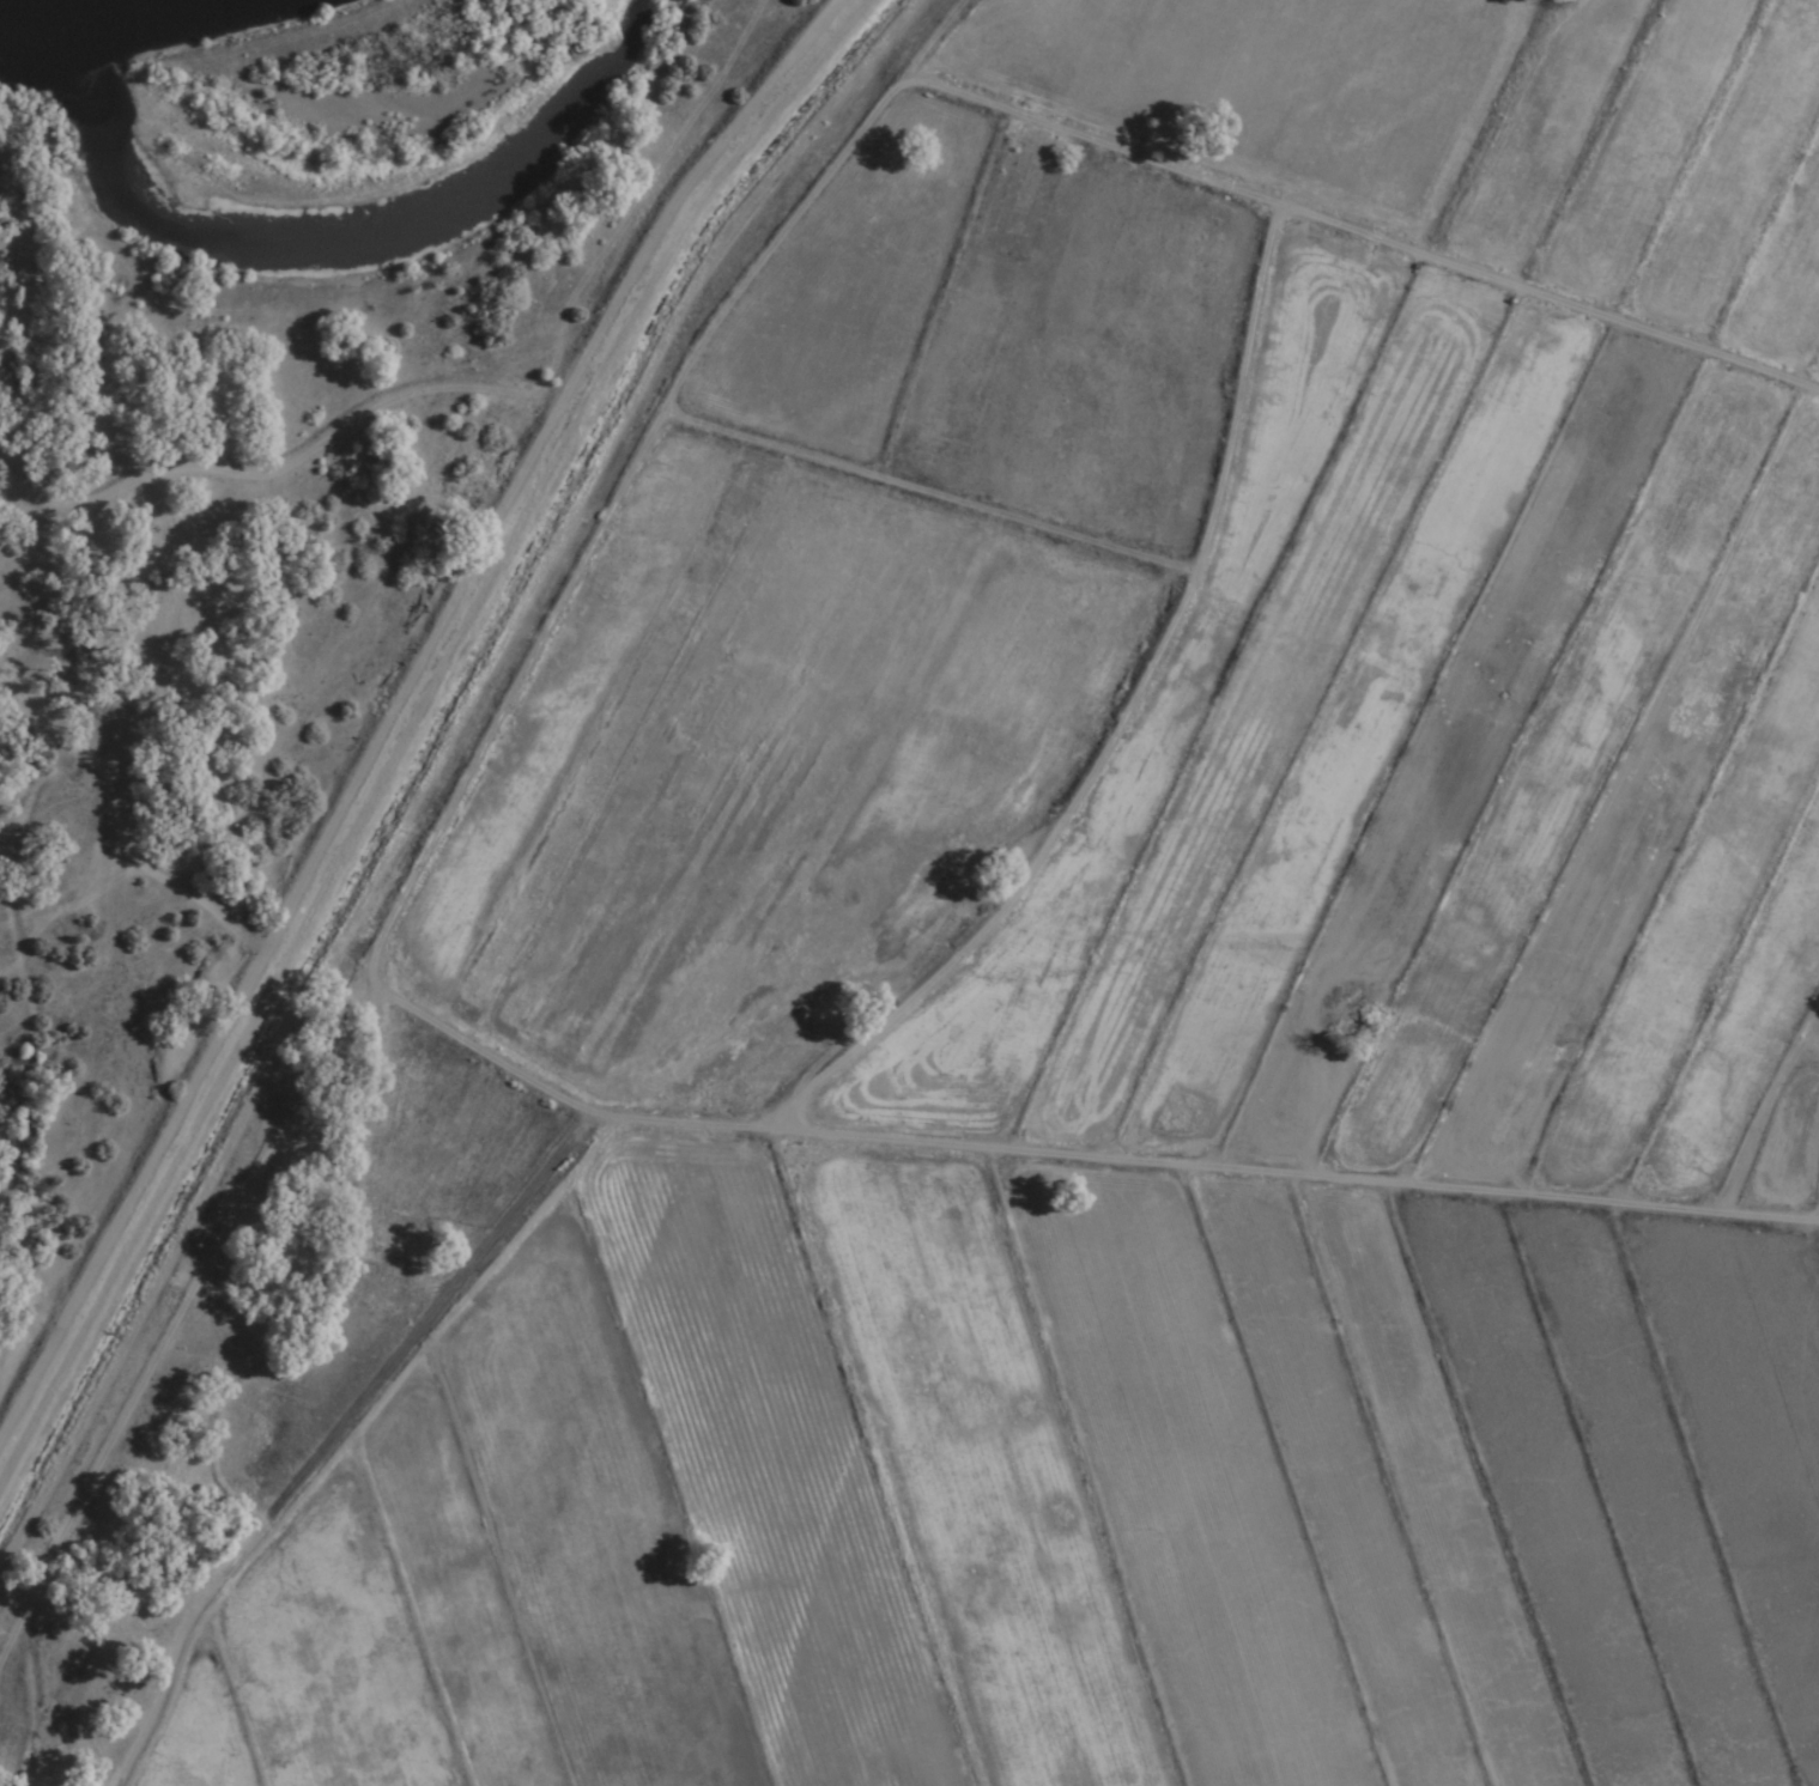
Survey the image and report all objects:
river: (23, 2)

